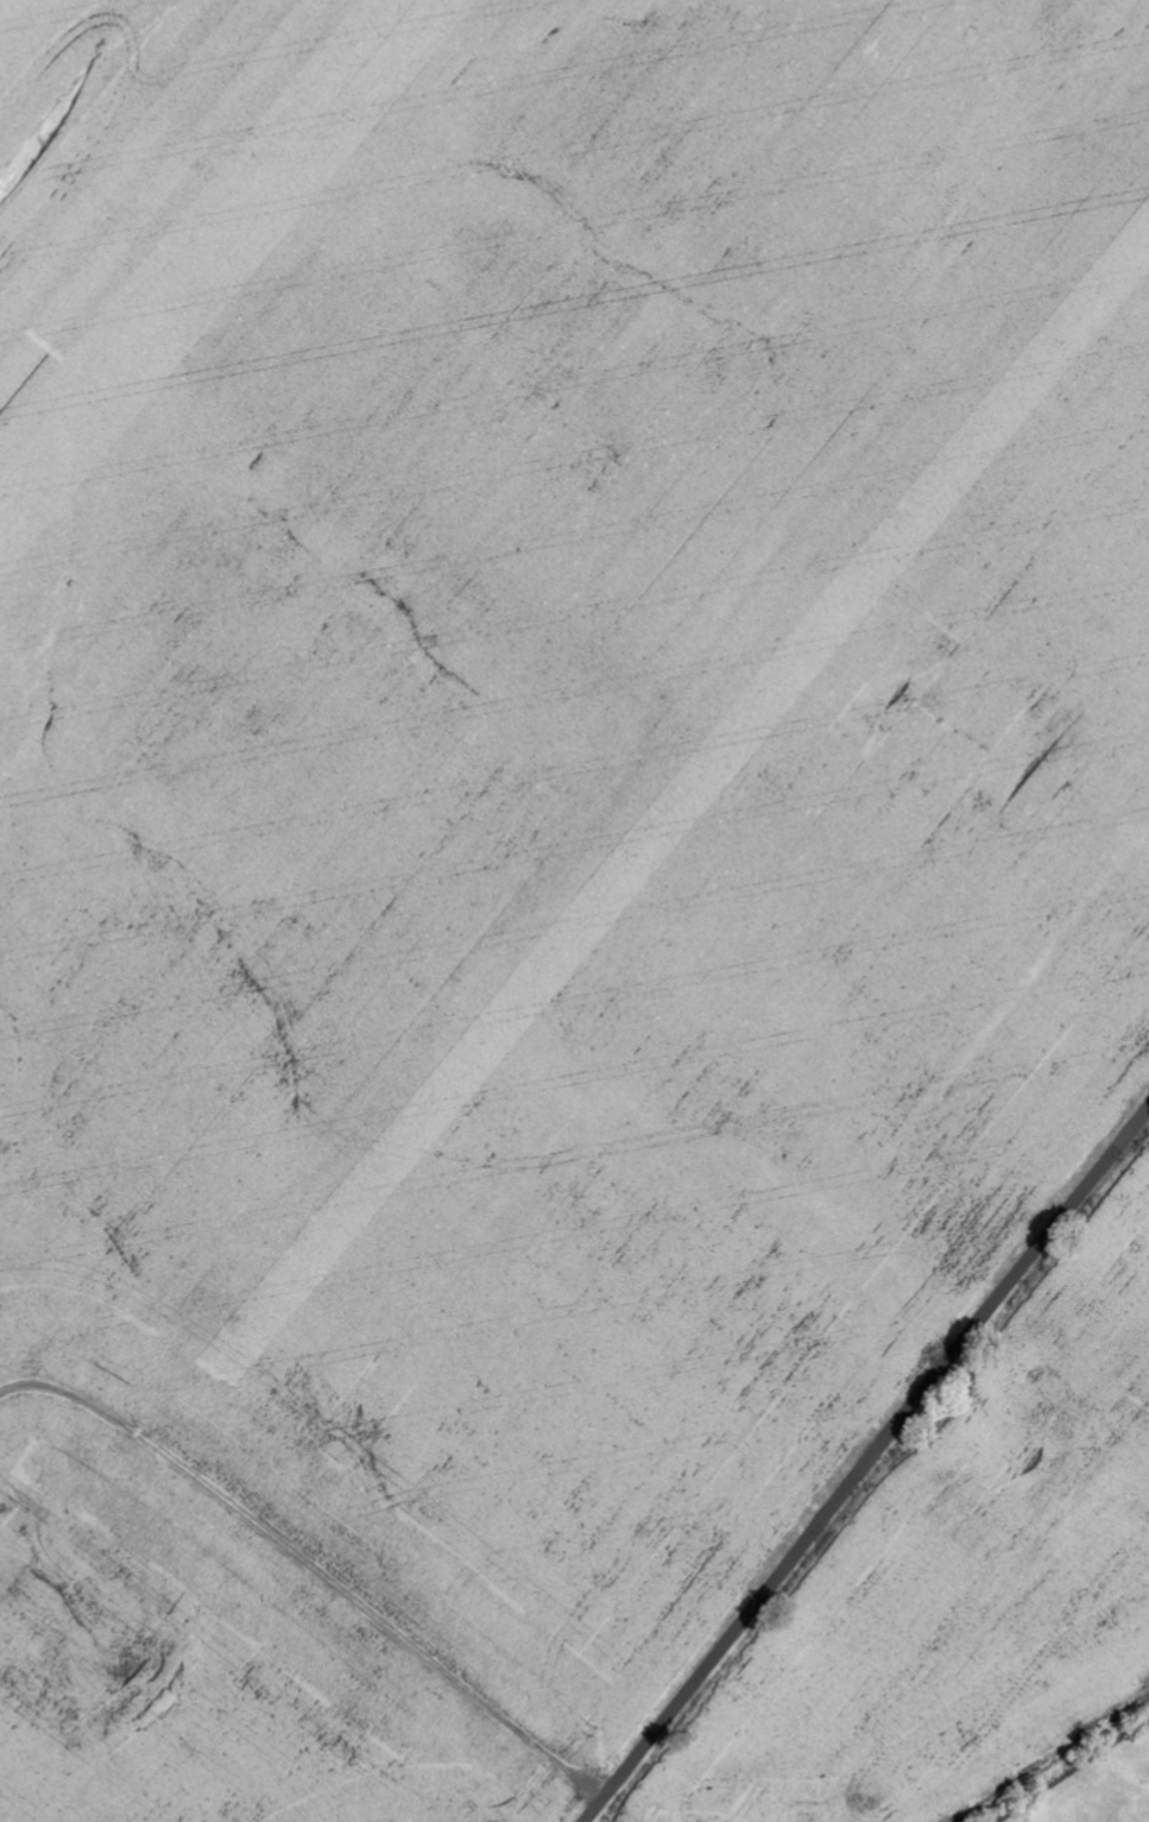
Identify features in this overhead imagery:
road: (865, 1465)
road: (328, 1525)

